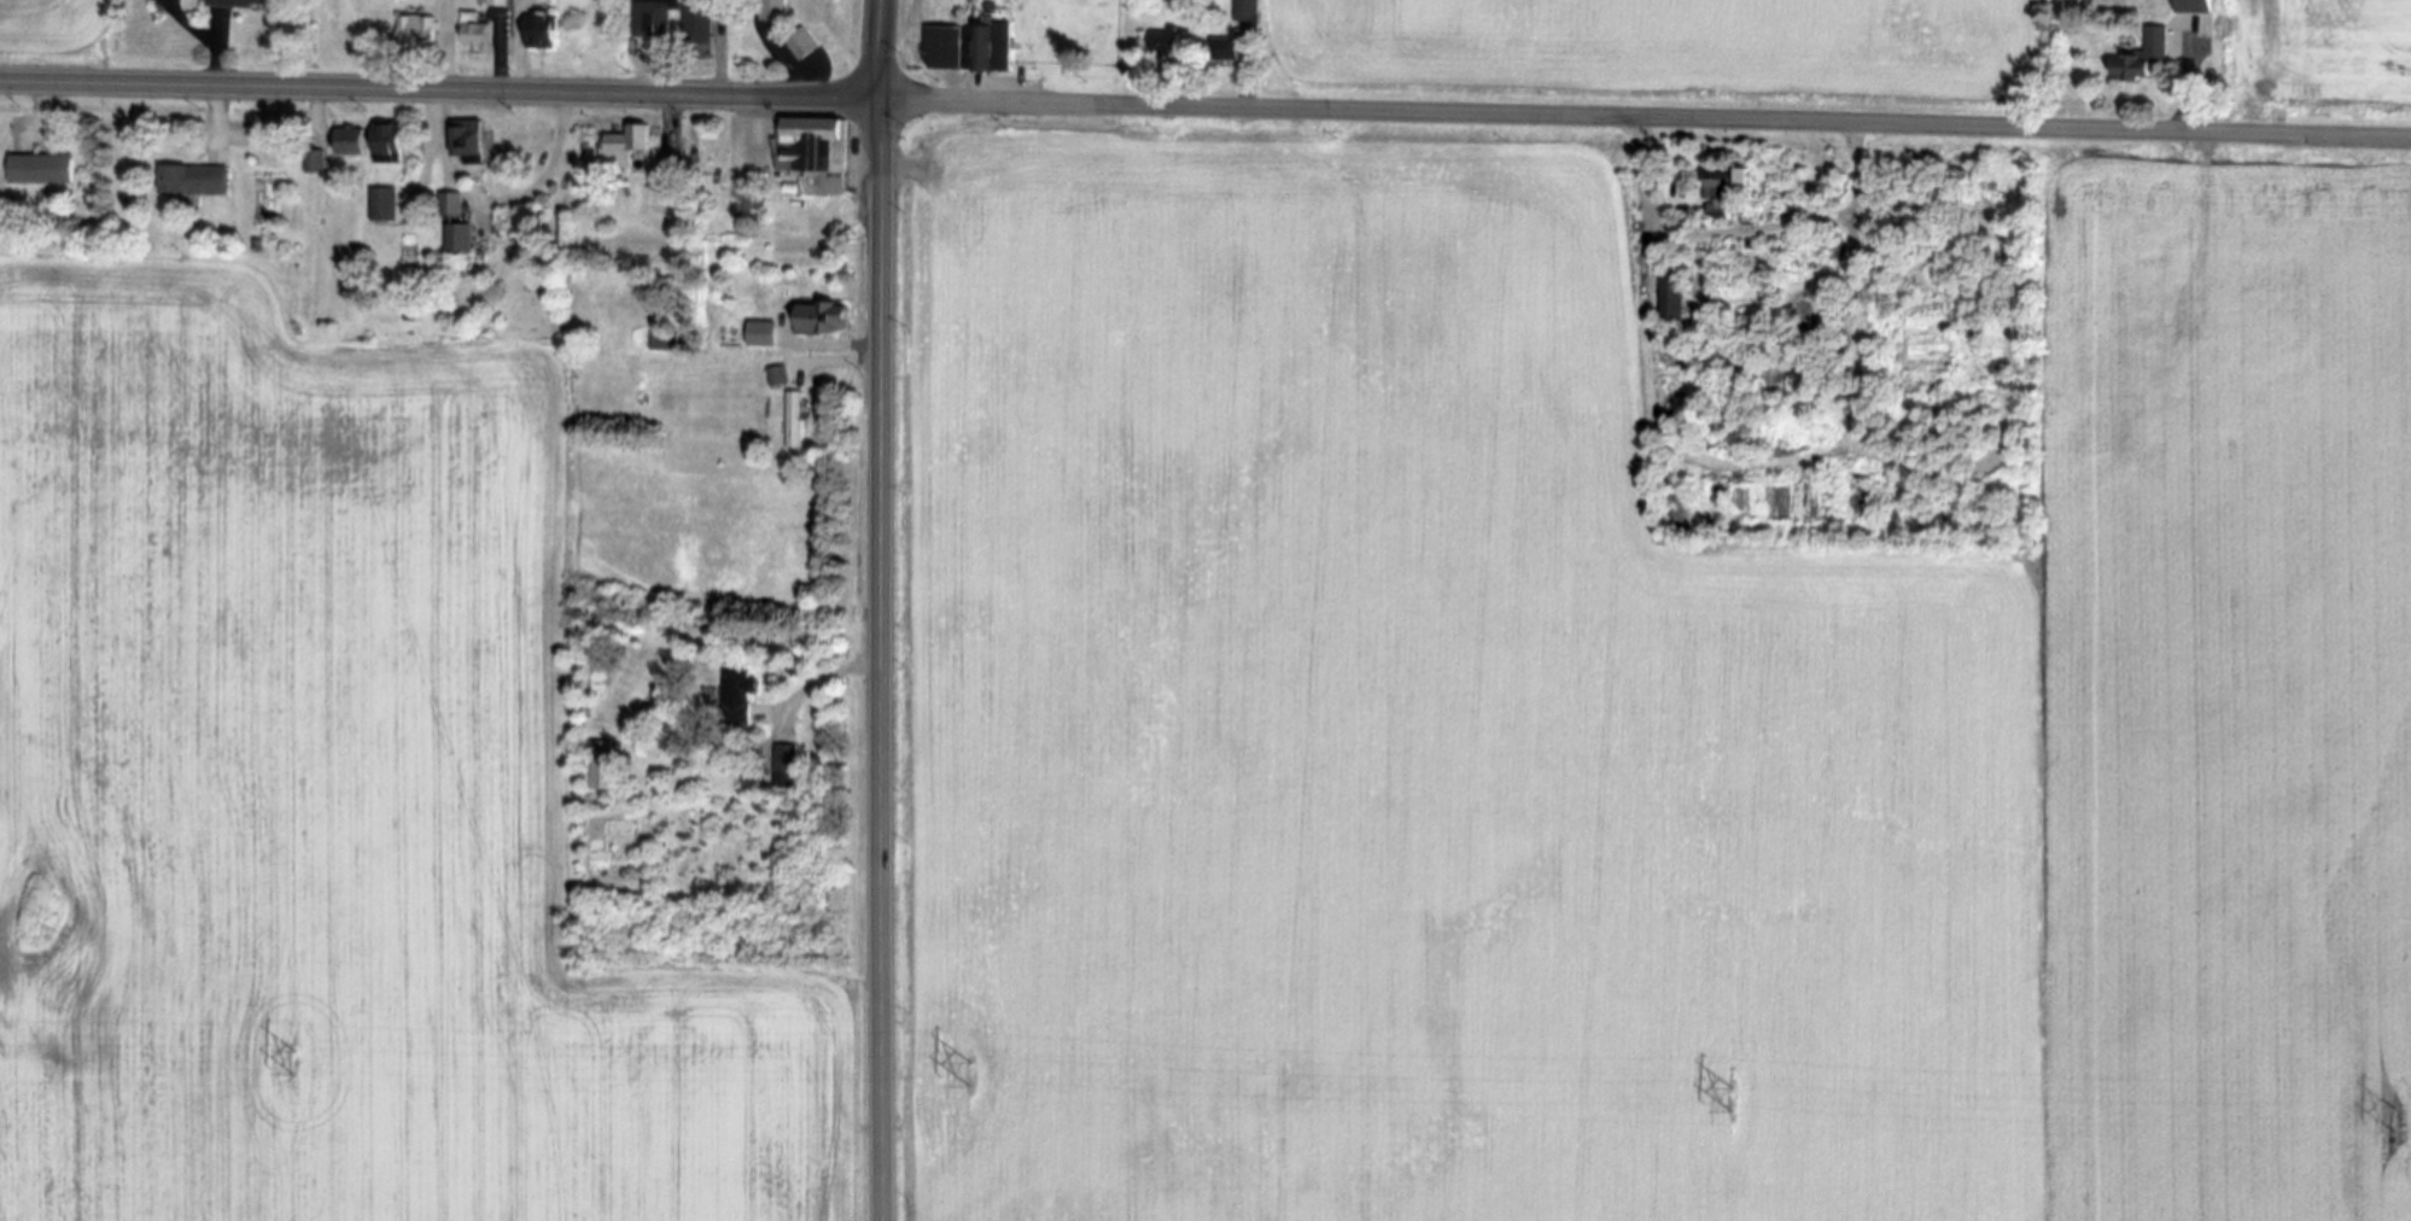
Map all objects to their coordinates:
building: (237, 2)
building: (496, 5)
building: (778, 10)
building: (1245, 12)
building: (2193, 13)
building: (652, 18)
building: (704, 21)
building: (535, 29)
building: (475, 30)
building: (2205, 34)
building: (411, 37)
building: (1169, 42)
building: (800, 45)
building: (964, 49)
building: (1231, 49)
road: (880, 51)
building: (2139, 59)
road: (212, 90)
road: (438, 94)
road: (46, 105)
road: (1644, 119)
building: (363, 141)
building: (393, 142)
building: (467, 144)
building: (617, 150)
building: (811, 154)
building: (317, 162)
building: (39, 170)
building: (677, 173)
building: (189, 182)
building: (1714, 183)
road: (502, 203)
building: (383, 206)
road: (1735, 222)
building: (455, 229)
building: (1674, 297)
building: (2257, 310)
building: (818, 321)
building: (766, 335)
building: (667, 343)
building: (2148, 378)
building: (776, 379)
building: (794, 422)
road: (880, 660)
road: (827, 679)
building: (735, 696)
building: (606, 765)
building: (783, 767)
building: (595, 777)
power tower: (297, 1063)
power tower: (973, 1077)
power tower: (1735, 1100)
power tower: (2398, 1121)

